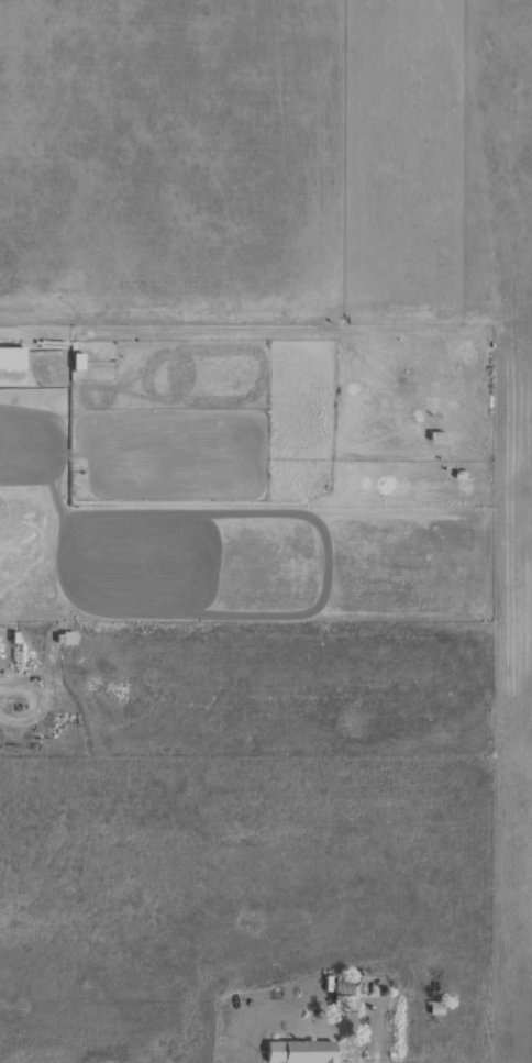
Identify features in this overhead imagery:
building: (9, 357)
building: (75, 362)
building: (340, 993)
building: (297, 1052)

